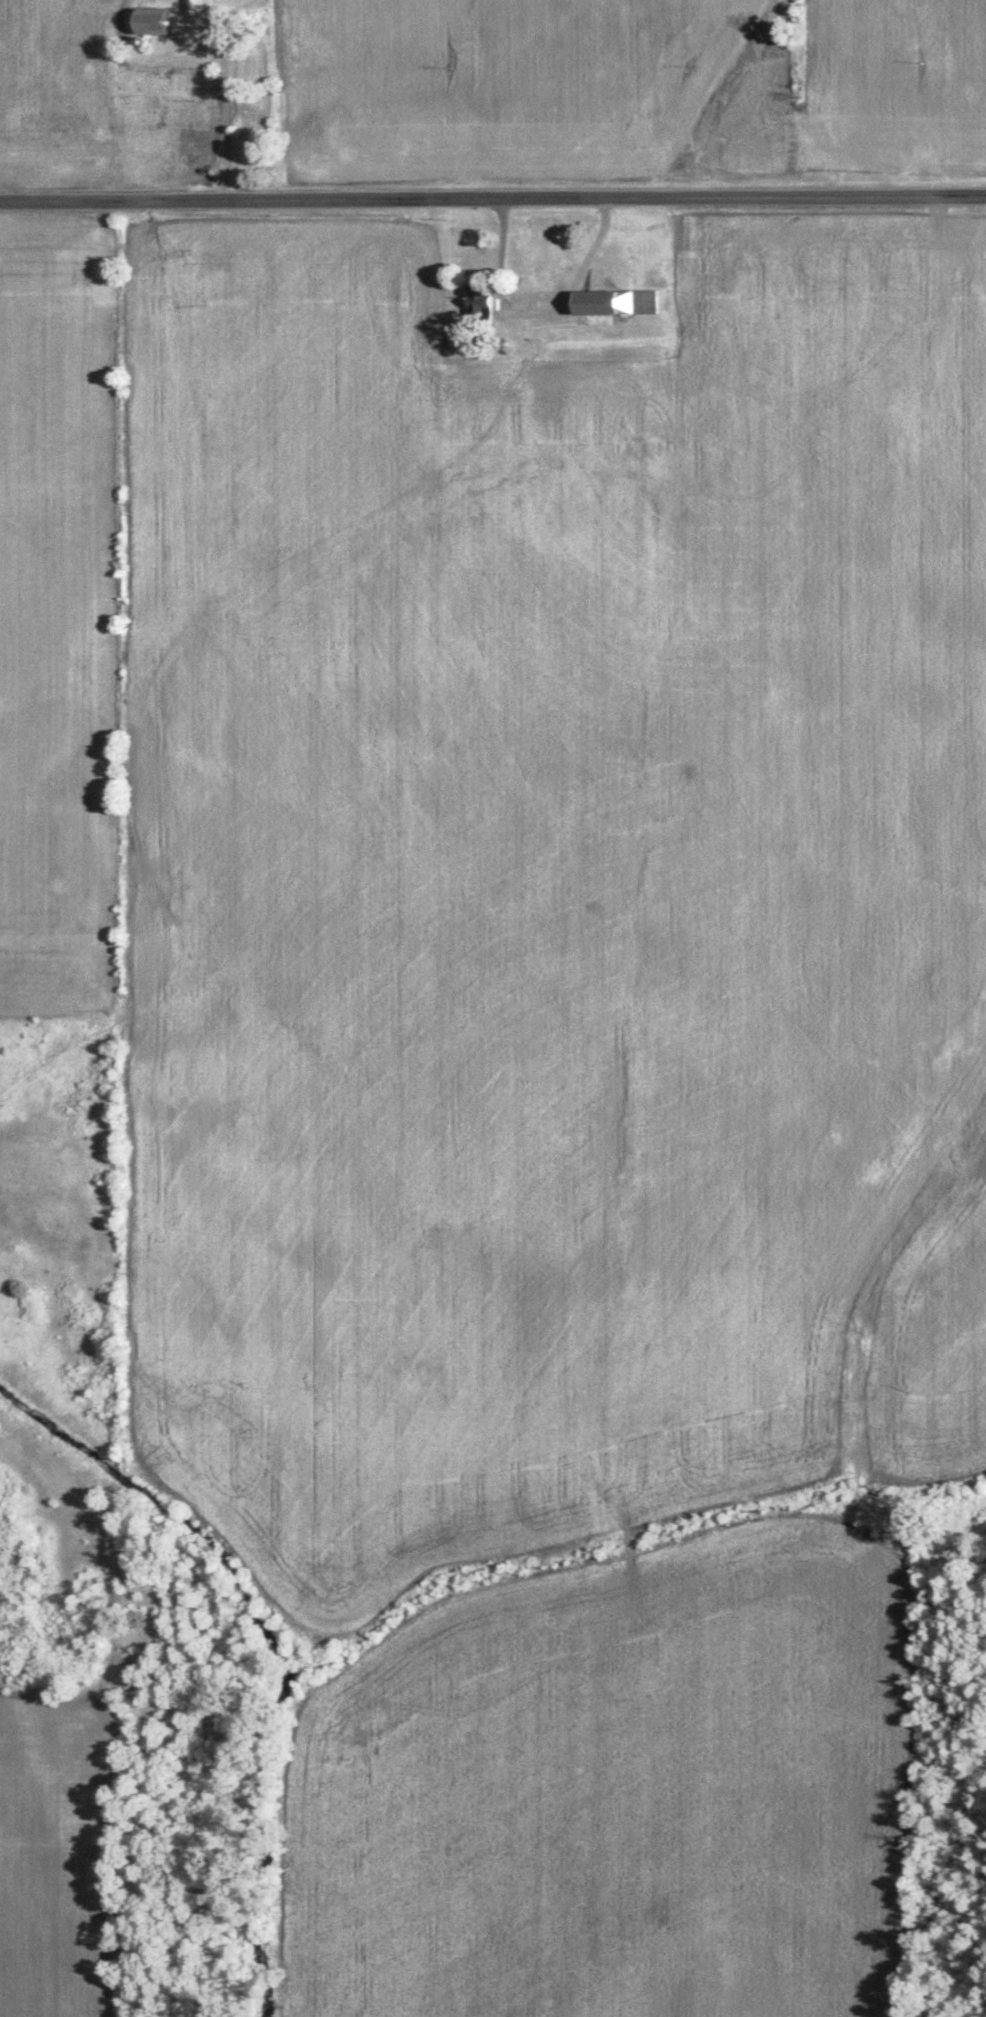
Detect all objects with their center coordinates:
building: (149, 19)
road: (493, 200)
building: (612, 301)

